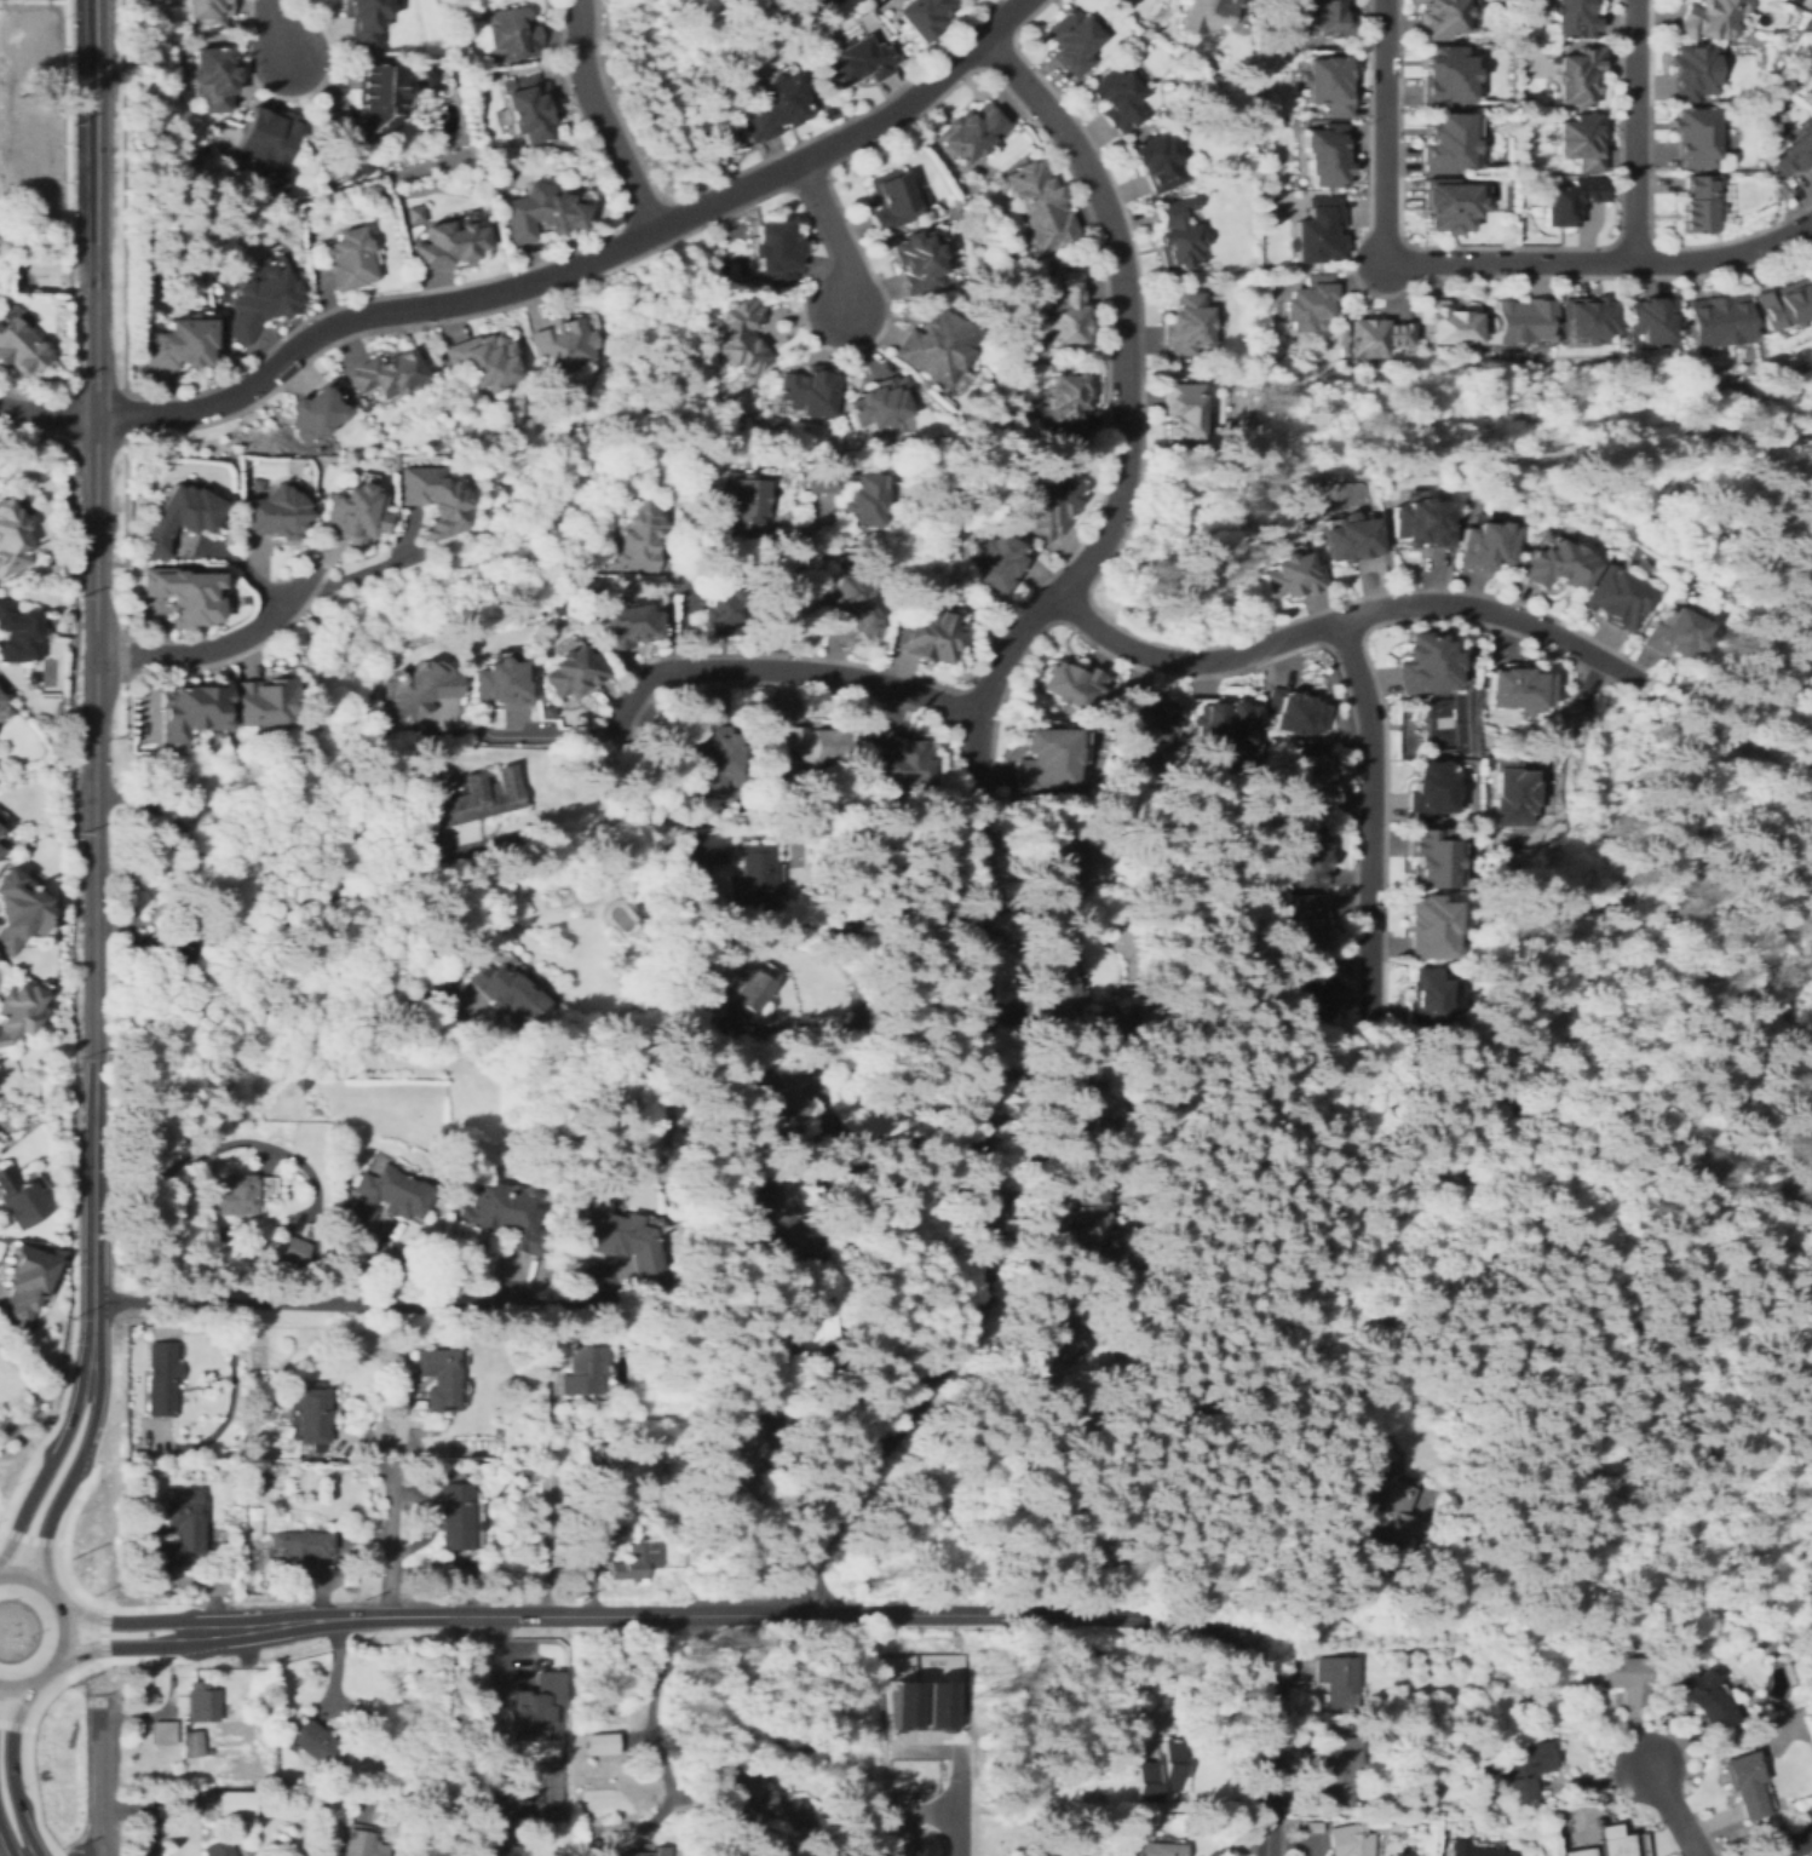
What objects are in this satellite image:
road: (58, 0)
park: (1802, 2)
building: (208, 11)
building: (1203, 13)
building: (920, 16)
building: (1321, 18)
building: (1440, 18)
building: (1710, 18)
building: (362, 19)
building: (1572, 19)
road: (278, 30)
building: (508, 34)
building: (1072, 40)
building: (858, 61)
building: (1691, 71)
building: (1443, 75)
building: (1576, 75)
building: (213, 76)
building: (1327, 84)
road: (300, 93)
building: (1116, 97)
building: (372, 104)
building: (529, 108)
building: (771, 108)
road: (603, 119)
building: (973, 131)
road: (1636, 131)
road: (1384, 134)
building: (1693, 134)
building: (270, 136)
park: (228, 138)
building: (1580, 140)
building: (1445, 143)
building: (1793, 151)
building: (1324, 154)
building: (1156, 160)
road: (743, 166)
park: (1495, 193)
building: (891, 199)
building: (1569, 199)
building: (1698, 202)
building: (1449, 205)
road: (96, 208)
building: (1041, 208)
building: (539, 212)
building: (415, 213)
building: (1535, 213)
road: (67, 229)
building: (1316, 230)
road: (836, 235)
building: (1178, 235)
road: (853, 240)
building: (448, 242)
building: (712, 246)
building: (776, 251)
building: (349, 258)
building: (915, 260)
road: (1604, 262)
building: (1811, 269)
road: (1436, 275)
road: (537, 282)
building: (260, 301)
building: (1310, 303)
building: (1782, 305)
building: (1064, 312)
building: (1586, 317)
building: (1519, 318)
building: (1649, 320)
building: (1715, 320)
building: (1443, 322)
road: (295, 323)
building: (1184, 323)
building: (740, 333)
building: (1374, 337)
building: (180, 343)
building: (564, 344)
building: (934, 344)
building: (19, 347)
building: (484, 358)
building: (385, 372)
building: (809, 390)
building: (880, 402)
building: (1066, 403)
building: (1181, 408)
road: (1124, 413)
building: (312, 414)
road: (39, 429)
road: (100, 441)
building: (850, 494)
building: (435, 500)
building: (742, 504)
building: (1048, 507)
building: (276, 512)
building: (353, 513)
building: (182, 516)
building: (1421, 523)
building: (1352, 538)
building: (8, 540)
building: (634, 541)
building: (1484, 546)
building: (994, 563)
building: (1553, 564)
road: (1098, 573)
road: (351, 574)
building: (1293, 576)
road: (787, 585)
building: (186, 594)
building: (1613, 597)
building: (846, 601)
building: (723, 610)
road: (1341, 619)
building: (627, 625)
building: (19, 634)
building: (926, 634)
building: (1681, 636)
road: (222, 647)
building: (1423, 663)
building: (570, 671)
road: (780, 671)
building: (499, 682)
road: (813, 684)
building: (1069, 684)
building: (1515, 688)
building: (422, 689)
building: (0, 697)
building: (0, 700)
building: (266, 701)
road: (956, 706)
building: (192, 709)
building: (1290, 713)
building: (1150, 717)
building: (1218, 722)
park: (1453, 724)
road: (1560, 731)
road: (519, 737)
building: (805, 745)
building: (723, 757)
building: (898, 757)
road: (96, 759)
building: (1036, 759)
building: (1306, 788)
building: (1430, 791)
building: (1509, 792)
building: (472, 799)
road: (1371, 816)
building: (1, 820)
building: (685, 824)
building: (4, 832)
building: (1, 846)
building: (707, 850)
building: (1302, 856)
building: (1425, 856)
building: (1062, 869)
road: (346, 875)
building: (753, 878)
building: (17, 909)
building: (1295, 919)
building: (1432, 925)
road: (70, 937)
road: (1353, 940)
building: (177, 948)
building: (758, 967)
building: (505, 986)
building: (1053, 989)
building: (1311, 998)
building: (1426, 999)
building: (734, 1004)
building: (16, 1013)
road: (875, 1028)
building: (782, 1098)
building: (1070, 1101)
building: (525, 1125)
road: (226, 1140)
building: (234, 1196)
building: (387, 1196)
building: (19, 1199)
road: (94, 1200)
building: (1085, 1212)
building: (504, 1216)
building: (771, 1223)
road: (977, 1223)
building: (617, 1237)
building: (293, 1251)
building: (398, 1262)
building: (25, 1285)
road: (1650, 1302)
road: (343, 1304)
road: (91, 1314)
building: (809, 1329)
building: (1055, 1344)
building: (583, 1371)
building: (162, 1378)
building: (438, 1378)
road: (77, 1392)
road: (94, 1394)
road: (226, 1397)
building: (310, 1415)
building: (738, 1450)
building: (232, 1452)
building: (248, 1452)
building: (597, 1466)
building: (251, 1469)
road: (88, 1475)
building: (361, 1475)
building: (524, 1475)
building: (448, 1476)
building: (642, 1482)
road: (19, 1483)
building: (1376, 1499)
road: (543, 1500)
road: (25, 1505)
road: (387, 1510)
building: (748, 1510)
building: (456, 1516)
road: (48, 1517)
building: (180, 1530)
road: (30, 1539)
road: (409, 1545)
building: (299, 1551)
building: (637, 1561)
road: (79, 1592)
road: (726, 1614)
road: (344, 1617)
road: (1146, 1617)
road: (123, 1621)
road: (258, 1627)
road: (65, 1628)
road: (1359, 1628)
road: (201, 1631)
road: (102, 1633)
road: (137, 1647)
road: (71, 1653)
road: (71, 1674)
building: (1622, 1677)
building: (1330, 1682)
building: (1512, 1689)
building: (899, 1695)
building: (933, 1695)
building: (1699, 1696)
building: (203, 1702)
building: (534, 1707)
road: (155, 1711)
building: (1375, 1723)
building: (266, 1724)
road: (12, 1725)
road: (447, 1725)
road: (661, 1731)
building: (163, 1733)
road: (10, 1742)
building: (312, 1742)
building: (600, 1742)
building: (196, 1743)
road: (1256, 1745)
road: (916, 1748)
building: (376, 1749)
building: (1520, 1768)
building: (1328, 1769)
building: (1149, 1772)
road: (99, 1776)
building: (1745, 1783)
building: (234, 1802)
building: (765, 1802)
road: (951, 1802)
building: (518, 1803)
road: (1673, 1808)
road: (925, 1810)
road: (35, 1820)
building: (1302, 1825)
road: (27, 1832)
building: (836, 1833)
building: (1341, 1840)
building: (359, 1841)
building: (1610, 1841)
road: (6, 1844)
building: (496, 1845)
road: (1227, 1845)
road: (1796, 1846)
building: (907, 1848)
building: (218, 1849)
building: (1151, 1849)
building: (1472, 1849)
road: (92, 1851)
road: (99, 1851)
building: (648, 1851)
building: (1575, 1851)

